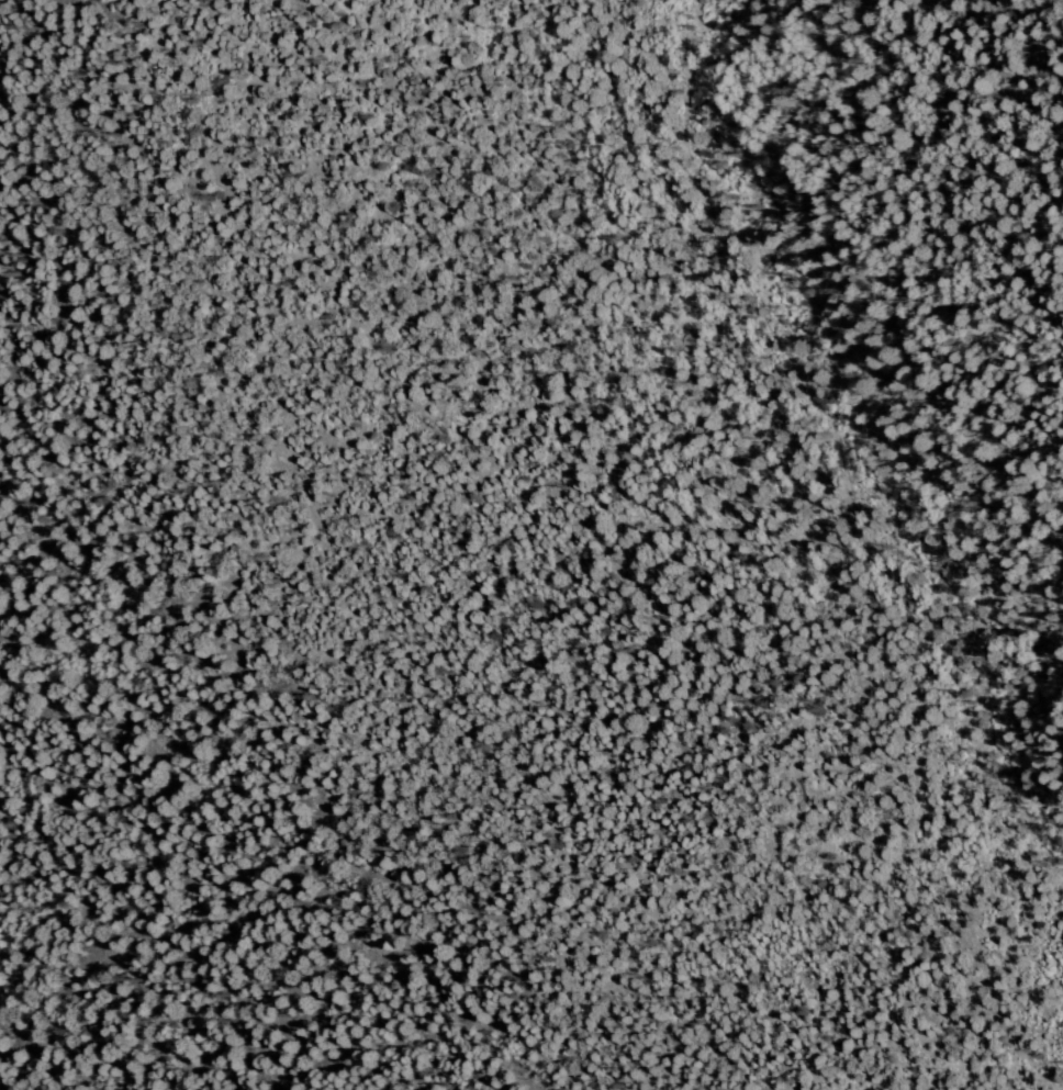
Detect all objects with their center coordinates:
road: (815, 474)

